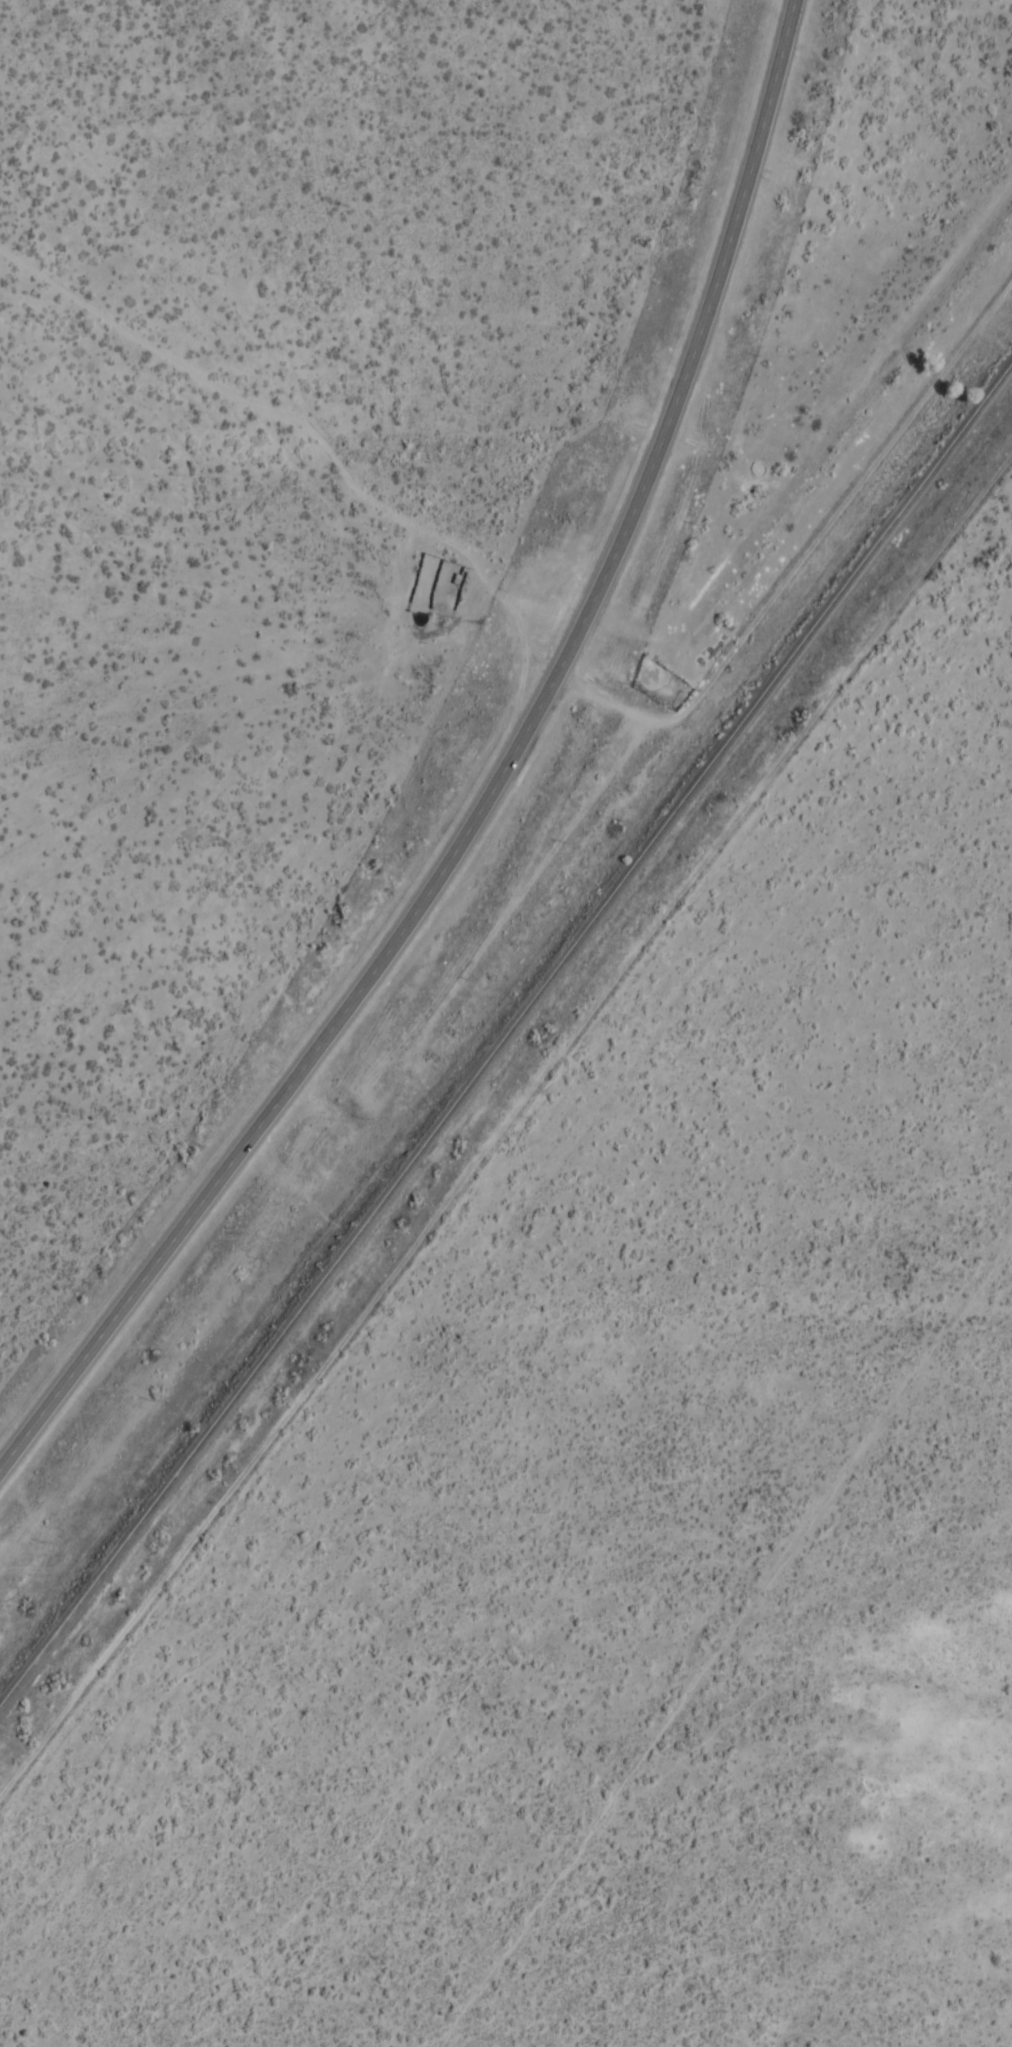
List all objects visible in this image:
road: (804, 535)
road: (519, 742)
railway: (506, 1033)
road: (30, 1428)

